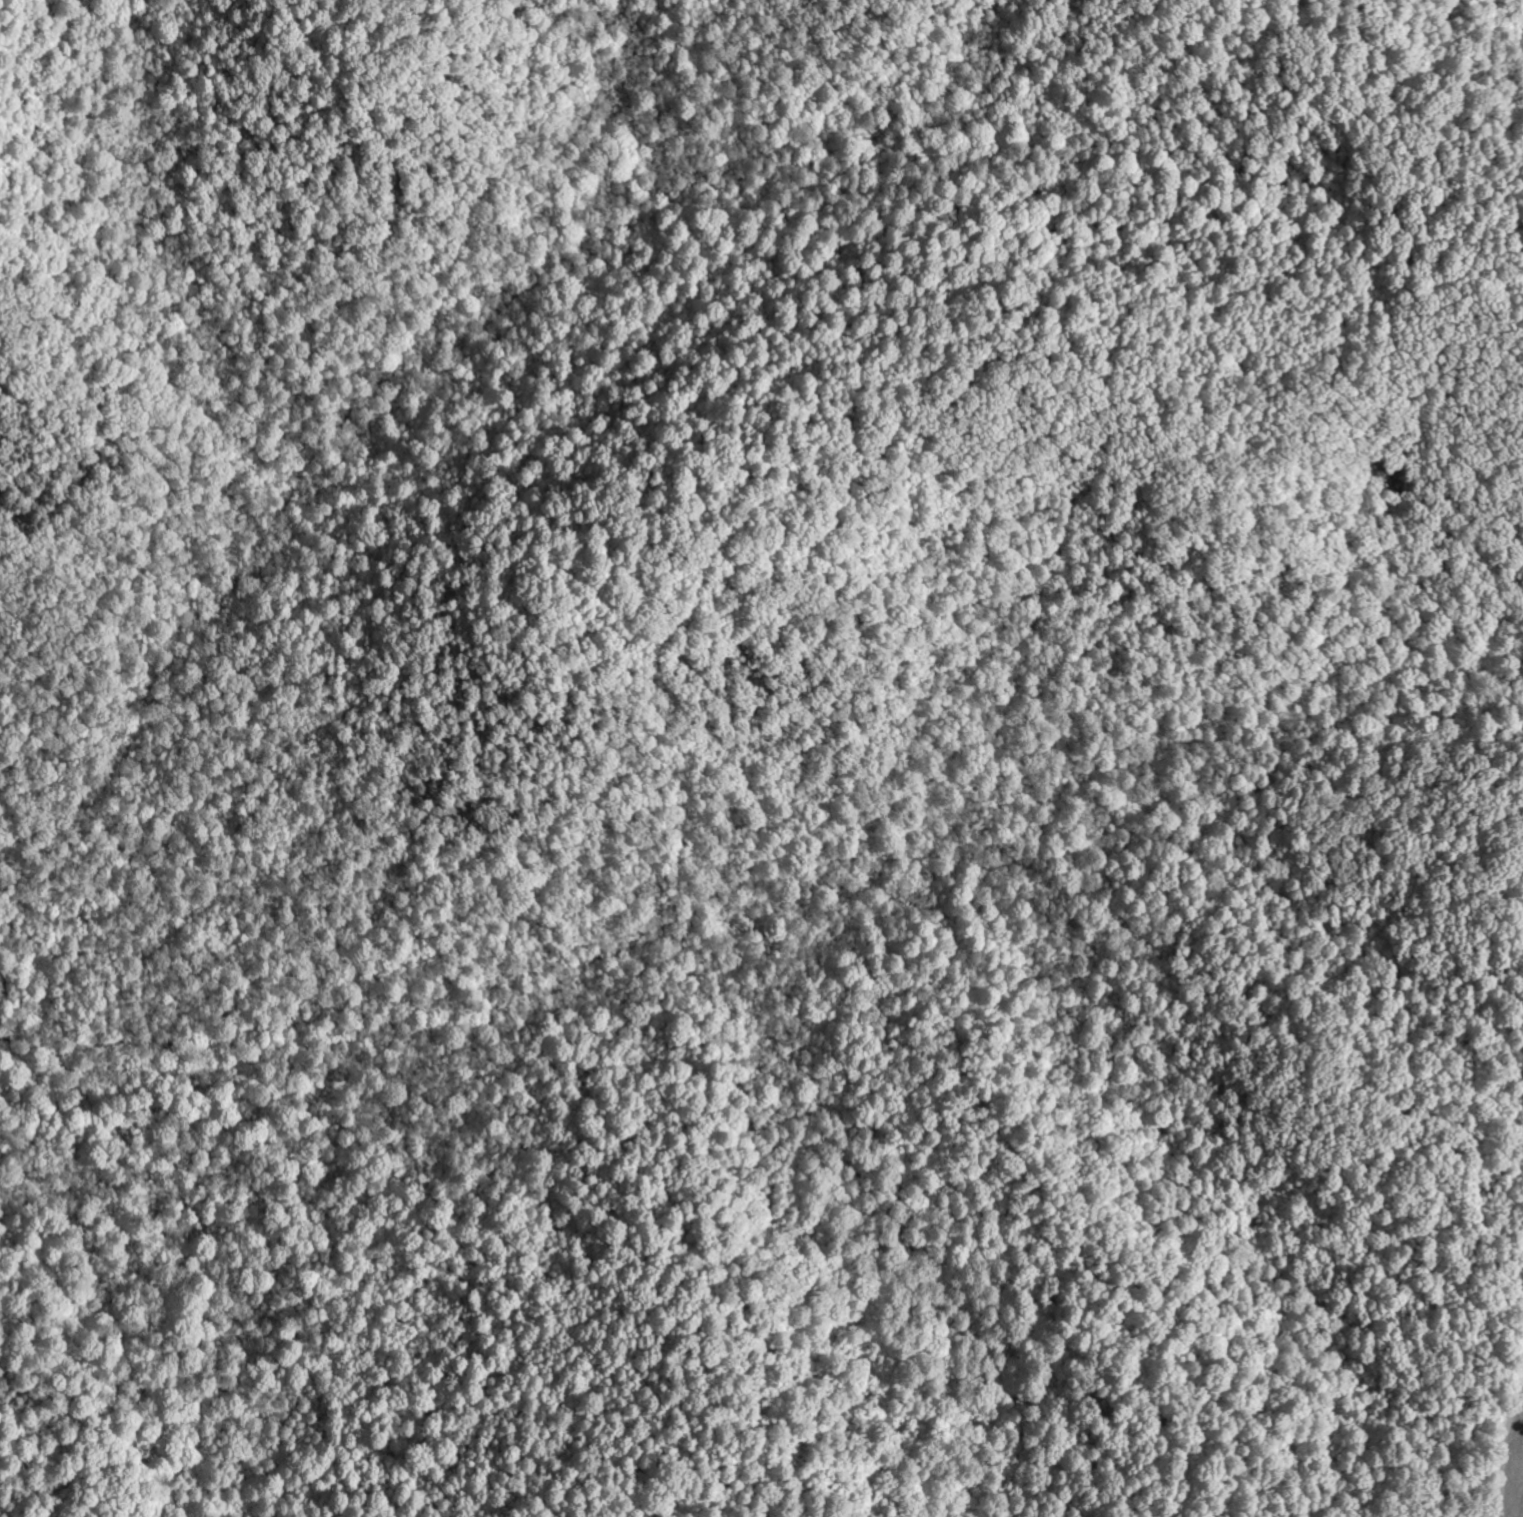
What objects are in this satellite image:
road: (1513, 1463)

